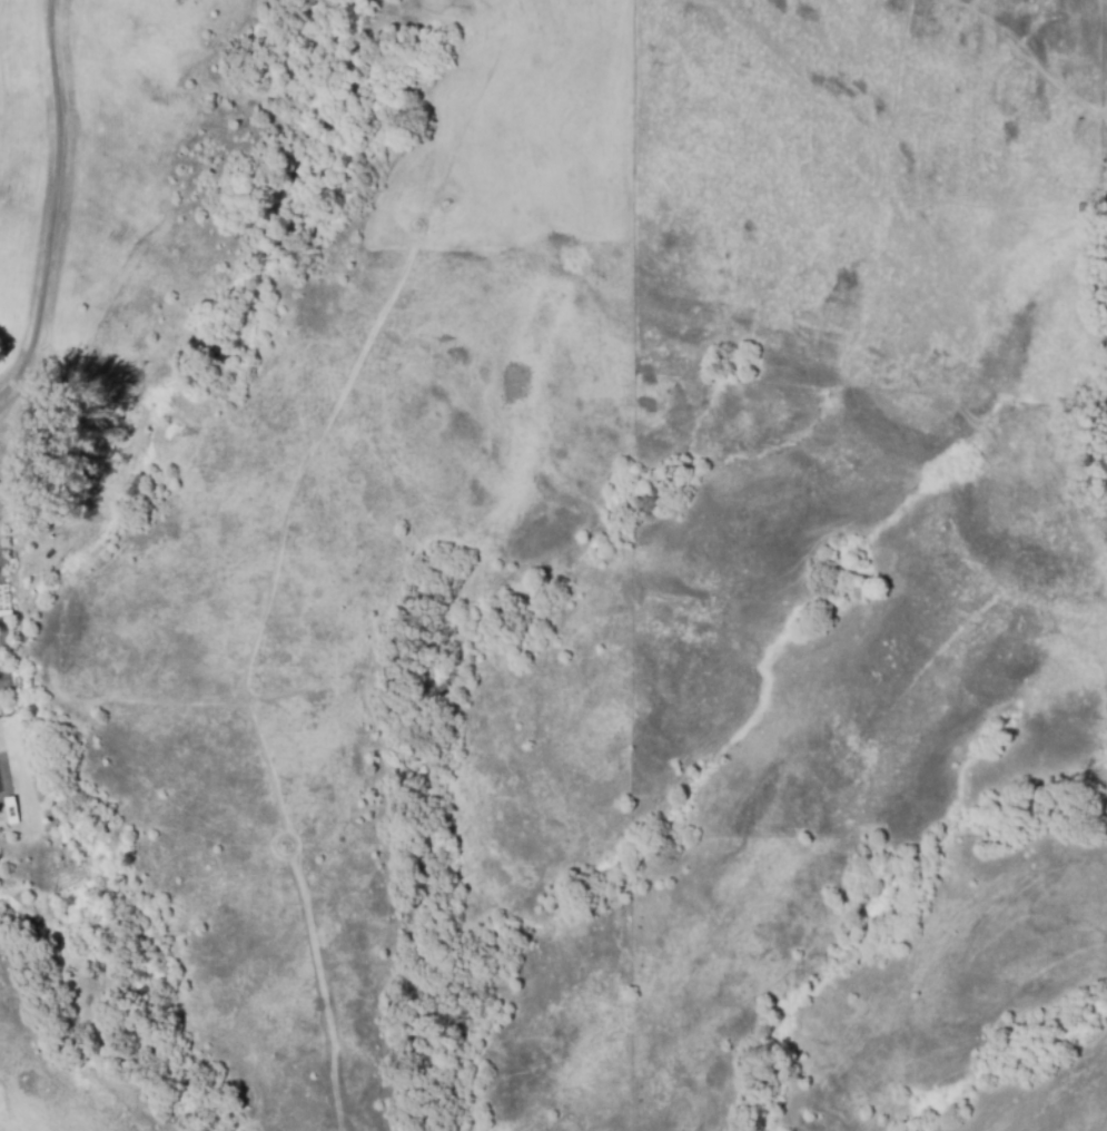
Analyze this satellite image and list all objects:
road: (65, 208)
building: (1085, 213)
building: (10, 810)

